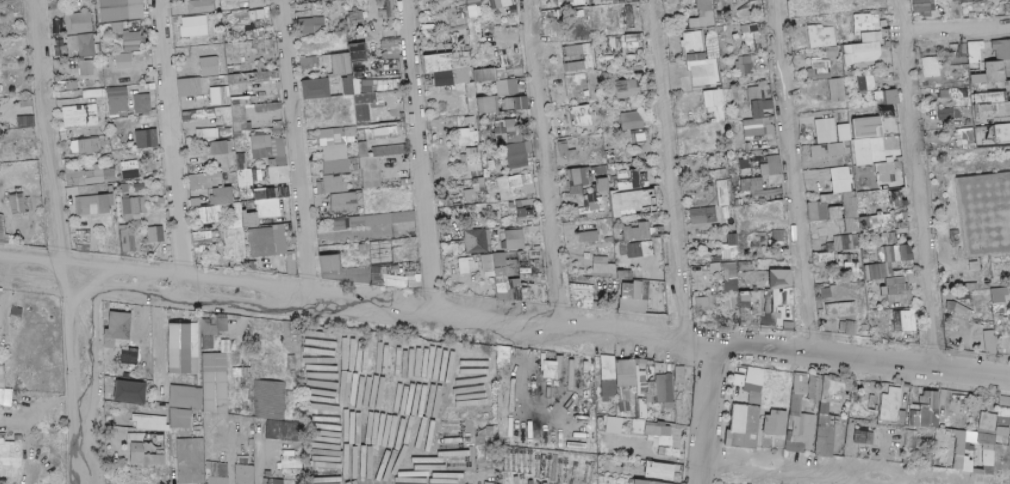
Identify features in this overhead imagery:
building: (191, 0)
building: (322, 0)
building: (440, 0)
building: (461, 0)
building: (752, 0)
building: (989, 0)
building: (313, 1)
building: (471, 1)
building: (920, 1)
building: (955, 1)
building: (594, 2)
building: (716, 2)
building: (754, 2)
building: (973, 2)
building: (500, 3)
building: (570, 3)
building: (1006, 3)
building: (336, 4)
building: (213, 5)
building: (705, 5)
building: (743, 5)
building: (198, 6)
building: (750, 8)
building: (923, 8)
building: (121, 10)
building: (267, 10)
building: (472, 10)
building: (477, 10)
building: (420, 11)
building: (513, 11)
building: (347, 12)
building: (885, 12)
building: (383, 13)
building: (391, 13)
building: (568, 13)
building: (986, 13)
building: (257, 14)
building: (719, 14)
building: (463, 15)
building: (561, 15)
building: (457, 16)
building: (970, 16)
building: (240, 17)
building: (356, 17)
building: (707, 19)
building: (176, 20)
building: (498, 21)
building: (866, 22)
building: (78, 23)
building: (694, 23)
building: (761, 24)
building: (298, 25)
building: (316, 25)
building: (194, 26)
building: (306, 26)
building: (117, 27)
building: (753, 27)
road: (956, 27)
building: (106, 28)
building: (459, 28)
building: (324, 30)
building: (712, 30)
building: (848, 31)
building: (856, 32)
building: (482, 33)
building: (489, 33)
building: (255, 34)
building: (825, 34)
building: (271, 36)
building: (638, 36)
building: (736, 36)
building: (750, 36)
building: (860, 36)
building: (872, 36)
building: (216, 38)
building: (631, 38)
building: (143, 39)
building: (448, 39)
building: (857, 39)
building: (132, 41)
building: (442, 41)
building: (94, 42)
building: (743, 43)
building: (615, 44)
building: (887, 44)
building: (86, 45)
building: (461, 45)
building: (72, 46)
building: (712, 46)
building: (390, 48)
building: (468, 48)
building: (752, 48)
building: (98, 49)
building: (444, 49)
building: (670, 49)
building: (847, 49)
building: (455, 50)
building: (632, 50)
building: (1001, 50)
building: (607, 51)
building: (765, 51)
building: (832, 51)
building: (865, 51)
building: (195, 52)
building: (357, 52)
building: (801, 52)
building: (954, 52)
building: (973, 52)
building: (573, 53)
building: (588, 55)
building: (302, 56)
building: (695, 56)
building: (508, 57)
building: (82, 58)
building: (638, 58)
building: (470, 59)
building: (816, 59)
building: (847, 59)
building: (124, 60)
building: (324, 60)
building: (446, 61)
building: (492, 61)
building: (11, 62)
building: (309, 62)
building: (340, 64)
building: (398, 64)
building: (389, 65)
building: (574, 65)
building: (744, 65)
building: (209, 66)
building: (939, 66)
building: (86, 67)
building: (254, 67)
building: (929, 67)
building: (151, 69)
building: (234, 69)
building: (820, 69)
building: (890, 69)
building: (704, 71)
building: (992, 71)
building: (603, 72)
building: (969, 72)
building: (504, 73)
building: (456, 75)
building: (484, 75)
building: (890, 75)
building: (265, 76)
building: (247, 77)
building: (463, 77)
building: (237, 78)
building: (350, 78)
building: (443, 78)
building: (766, 78)
building: (758, 79)
building: (976, 79)
building: (218, 80)
building: (603, 81)
building: (206, 82)
building: (433, 82)
building: (455, 82)
building: (492, 82)
building: (1008, 83)
building: (866, 84)
building: (72, 85)
building: (347, 85)
building: (356, 85)
building: (376, 85)
building: (621, 85)
building: (149, 86)
building: (577, 86)
building: (707, 86)
building: (189, 87)
building: (451, 87)
building: (506, 87)
building: (1, 88)
building: (316, 88)
building: (235, 89)
building: (481, 89)
building: (837, 89)
building: (343, 90)
building: (630, 90)
building: (77, 91)
building: (104, 92)
building: (488, 92)
building: (92, 93)
building: (466, 93)
building: (647, 93)
building: (756, 93)
building: (944, 93)
building: (228, 94)
building: (743, 94)
building: (218, 95)
building: (858, 95)
building: (878, 95)
building: (959, 95)
building: (1000, 96)
building: (716, 97)
building: (887, 97)
building: (991, 97)
building: (1006, 97)
building: (472, 98)
building: (647, 98)
building: (706, 98)
building: (979, 98)
building: (117, 100)
building: (246, 100)
building: (971, 100)
building: (1007, 100)
building: (237, 101)
building: (894, 102)
building: (26, 103)
building: (509, 103)
building: (521, 103)
building: (554, 103)
building: (567, 103)
building: (611, 103)
building: (631, 103)
building: (703, 103)
building: (143, 104)
building: (484, 104)
building: (767, 104)
building: (948, 104)
building: (503, 105)
building: (249, 106)
building: (155, 107)
building: (462, 107)
building: (267, 108)
building: (756, 108)
building: (605, 109)
building: (999, 109)
building: (111, 110)
building: (880, 111)
building: (888, 111)
building: (981, 111)
building: (211, 112)
building: (463, 112)
building: (714, 112)
building: (861, 112)
building: (973, 112)
building: (948, 113)
building: (194, 114)
building: (365, 114)
building: (491, 114)
building: (607, 114)
building: (106, 115)
building: (110, 115)
building: (225, 115)
building: (579, 115)
building: (767, 115)
building: (80, 116)
building: (238, 116)
building: (702, 116)
building: (147, 117)
building: (220, 117)
building: (719, 117)
building: (725, 117)
building: (212, 118)
building: (596, 118)
building: (33, 120)
building: (186, 120)
building: (632, 120)
building: (24, 121)
building: (967, 121)
building: (403, 123)
building: (502, 123)
building: (979, 123)
building: (277, 124)
building: (471, 124)
building: (737, 124)
building: (246, 126)
building: (588, 126)
building: (219, 127)
building: (228, 127)
building: (511, 127)
building: (757, 127)
building: (865, 127)
road: (51, 129)
building: (472, 129)
building: (827, 129)
building: (278, 130)
building: (519, 130)
building: (62, 131)
building: (350, 131)
building: (650, 131)
building: (878, 131)
building: (377, 132)
building: (843, 132)
building: (216, 133)
building: (200, 134)
building: (238, 134)
building: (253, 134)
building: (259, 134)
building: (956, 134)
building: (501, 135)
building: (807, 135)
building: (331, 136)
building: (466, 136)
building: (493, 136)
building: (638, 136)
building: (965, 136)
building: (63, 137)
building: (474, 138)
building: (514, 138)
building: (349, 139)
building: (107, 140)
building: (268, 140)
building: (817, 141)
building: (867, 141)
building: (284, 142)
building: (563, 142)
building: (876, 143)
building: (229, 145)
building: (949, 145)
building: (84, 146)
building: (748, 146)
building: (218, 147)
building: (260, 147)
building: (278, 147)
building: (563, 147)
building: (493, 148)
road: (172, 149)
building: (208, 149)
building: (362, 149)
road: (296, 150)
building: (390, 150)
building: (828, 150)
building: (453, 151)
building: (504, 151)
building: (335, 152)
building: (529, 152)
building: (860, 152)
building: (115, 153)
building: (929, 153)
building: (369, 154)
road: (419, 154)
building: (572, 154)
building: (517, 155)
building: (566, 155)
building: (760, 155)
building: (353, 156)
building: (402, 156)
building: (406, 156)
building: (614, 156)
building: (469, 159)
building: (476, 159)
building: (752, 160)
building: (67, 161)
building: (227, 161)
building: (241, 161)
building: (280, 161)
road: (545, 161)
building: (272, 162)
building: (745, 162)
building: (129, 164)
building: (312, 164)
building: (336, 166)
building: (770, 166)
building: (356, 167)
building: (491, 167)
building: (649, 167)
building: (277, 169)
road: (666, 169)
building: (283, 170)
building: (745, 170)
building: (758, 170)
building: (134, 171)
building: (370, 171)
building: (878, 171)
building: (125, 172)
building: (477, 173)
building: (486, 173)
building: (718, 173)
building: (108, 174)
building: (258, 174)
building: (86, 175)
road: (794, 175)
building: (579, 176)
building: (629, 177)
building: (880, 177)
building: (284, 178)
building: (217, 179)
building: (771, 179)
building: (644, 180)
building: (851, 180)
building: (404, 181)
building: (408, 181)
building: (478, 181)
building: (688, 181)
road: (917, 181)
building: (201, 182)
building: (460, 182)
building: (465, 182)
building: (616, 182)
building: (834, 182)
building: (333, 183)
building: (502, 183)
building: (453, 184)
building: (751, 184)
building: (245, 185)
building: (345, 185)
building: (602, 185)
building: (624, 185)
building: (123, 187)
building: (320, 187)
building: (358, 187)
building: (709, 187)
building: (111, 188)
building: (136, 188)
building: (479, 188)
building: (829, 189)
building: (576, 190)
building: (587, 190)
building: (594, 190)
building: (625, 190)
building: (878, 190)
building: (278, 192)
building: (772, 192)
building: (860, 192)
building: (505, 193)
building: (259, 194)
building: (479, 194)
building: (840, 194)
building: (222, 195)
building: (470, 195)
building: (126, 196)
building: (652, 196)
building: (360, 197)
building: (620, 197)
building: (828, 197)
building: (493, 198)
building: (642, 198)
building: (897, 198)
building: (160, 200)
building: (211, 200)
building: (446, 200)
building: (593, 201)
building: (344, 202)
building: (440, 202)
building: (875, 202)
building: (17, 203)
building: (105, 203)
building: (506, 203)
building: (144, 204)
building: (489, 204)
building: (502, 204)
building: (511, 204)
building: (526, 204)
building: (586, 204)
building: (600, 204)
building: (89, 205)
building: (131, 205)
building: (223, 205)
building: (849, 205)
building: (78, 206)
building: (249, 206)
building: (268, 207)
building: (472, 207)
building: (483, 208)
building: (441, 209)
building: (504, 209)
building: (731, 210)
building: (236, 211)
building: (818, 211)
building: (362, 212)
building: (524, 212)
building: (116, 213)
building: (834, 213)
building: (863, 213)
building: (879, 213)
building: (211, 214)
building: (871, 214)
building: (19, 215)
building: (642, 215)
building: (657, 215)
building: (698, 215)
building: (711, 215)
building: (842, 215)
building: (403, 216)
building: (610, 216)
building: (129, 217)
building: (903, 217)
building: (249, 219)
building: (378, 219)
building: (482, 220)
building: (570, 220)
building: (617, 220)
building: (358, 221)
building: (873, 221)
building: (350, 222)
building: (864, 223)
building: (229, 224)
building: (237, 224)
building: (633, 224)
building: (242, 225)
building: (290, 225)
building: (340, 225)
building: (851, 225)
building: (904, 225)
building: (124, 227)
building: (7, 228)
building: (219, 228)
building: (611, 228)
building: (831, 228)
building: (861, 230)
building: (452, 231)
building: (636, 231)
building: (656, 232)
building: (155, 234)
building: (495, 234)
building: (621, 234)
building: (769, 234)
building: (954, 234)
building: (87, 235)
building: (884, 235)
building: (198, 236)
building: (405, 236)
building: (488, 236)
building: (589, 236)
building: (861, 236)
building: (893, 236)
building: (219, 237)
building: (463, 237)
building: (446, 238)
building: (779, 238)
building: (208, 239)
building: (279, 239)
building: (514, 239)
building: (610, 239)
building: (125, 240)
building: (146, 240)
building: (366, 240)
building: (475, 240)
building: (732, 240)
building: (82, 241)
building: (262, 241)
building: (133, 242)
building: (235, 242)
building: (592, 242)
building: (854, 242)
building: (882, 242)
building: (617, 243)
building: (842, 243)
building: (371, 244)
building: (380, 244)
building: (503, 244)
building: (586, 246)
building: (830, 246)
building: (454, 248)
building: (415, 249)
building: (640, 249)
building: (960, 249)
building: (199, 250)
building: (623, 250)
building: (252, 252)
building: (729, 252)
building: (881, 252)
building: (904, 252)
building: (124, 253)
building: (476, 253)
building: (694, 253)
building: (891, 253)
building: (381, 255)
building: (512, 255)
building: (374, 256)
building: (826, 257)
building: (471, 258)
building: (481, 258)
building: (499, 258)
building: (716, 258)
building: (849, 258)
building: (855, 258)
building: (863, 259)
building: (382, 260)
building: (842, 261)
building: (291, 262)
building: (330, 262)
building: (403, 262)
building: (488, 262)
building: (765, 262)
building: (201, 263)
building: (411, 264)
building: (477, 264)
building: (596, 264)
building: (898, 264)
building: (251, 265)
building: (403, 265)
building: (463, 265)
building: (472, 265)
building: (747, 265)
building: (973, 265)
building: (406, 267)
building: (608, 267)
building: (851, 267)
road: (143, 268)
building: (395, 268)
building: (730, 268)
building: (641, 269)
building: (873, 270)
building: (508, 272)
building: (418, 273)
building: (500, 273)
building: (717, 273)
building: (384, 274)
building: (410, 274)
building: (489, 274)
building: (620, 274)
building: (627, 274)
building: (376, 275)
building: (852, 276)
building: (866, 276)
building: (701, 277)
building: (754, 277)
building: (879, 277)
building: (768, 278)
building: (781, 278)
building: (492, 280)
building: (993, 280)
building: (762, 281)
building: (395, 282)
building: (413, 283)
building: (768, 283)
building: (870, 283)
building: (730, 285)
building: (894, 285)
building: (821, 286)
building: (970, 286)
building: (833, 287)
building: (509, 289)
building: (636, 289)
building: (626, 290)
building: (644, 290)
building: (787, 291)
building: (533, 292)
building: (774, 292)
building: (826, 292)
road: (140, 293)
building: (581, 295)
building: (697, 295)
building: (967, 295)
building: (963, 297)
building: (744, 299)
building: (713, 300)
building: (755, 301)
building: (702, 302)
building: (729, 302)
building: (595, 304)
building: (632, 304)
building: (778, 306)
building: (996, 307)
building: (841, 308)
building: (959, 308)
building: (750, 309)
building: (747, 310)
building: (766, 312)
building: (16, 313)
road: (501, 316)
building: (694, 316)
building: (743, 316)
building: (1004, 317)
building: (52, 318)
building: (902, 318)
building: (214, 319)
building: (754, 319)
building: (118, 326)
building: (848, 327)
building: (864, 327)
building: (209, 328)
building: (194, 333)
building: (292, 337)
building: (989, 340)
building: (208, 342)
building: (116, 343)
building: (179, 348)
building: (477, 348)
building: (991, 349)
building: (986, 352)
building: (480, 353)
building: (505, 354)
road: (866, 355)
road: (523, 356)
building: (130, 357)
building: (214, 361)
building: (294, 361)
building: (604, 362)
building: (640, 362)
building: (648, 363)
building: (641, 369)
building: (293, 370)
road: (68, 371)
building: (246, 371)
building: (237, 372)
building: (607, 373)
building: (625, 373)
building: (680, 374)
building: (801, 374)
building: (2, 376)
building: (502, 377)
building: (641, 379)
building: (739, 380)
building: (753, 380)
building: (246, 381)
building: (238, 382)
building: (800, 384)
building: (297, 386)
building: (504, 386)
building: (607, 387)
building: (631, 387)
building: (814, 387)
building: (616, 388)
building: (664, 388)
building: (835, 388)
building: (215, 390)
building: (130, 391)
building: (641, 391)
building: (111, 393)
building: (623, 393)
building: (650, 394)
building: (925, 394)
building: (6, 396)
building: (186, 397)
building: (677, 397)
building: (847, 397)
building: (754, 398)
building: (270, 399)
building: (922, 400)
building: (931, 400)
building: (872, 401)
building: (1003, 401)
building: (739, 402)
building: (287, 404)
building: (795, 404)
building: (804, 404)
building: (981, 404)
building: (975, 405)
building: (623, 406)
building: (639, 407)
building: (669, 407)
building: (823, 408)
road: (35, 409)
building: (1002, 411)
building: (625, 413)
road: (715, 413)
building: (467, 414)
building: (315, 415)
building: (327, 415)
building: (639, 415)
building: (323, 416)
building: (900, 416)
building: (791, 417)
building: (927, 417)
building: (181, 418)
building: (682, 418)
building: (823, 419)
building: (294, 420)
building: (833, 420)
building: (914, 420)
building: (1002, 420)
building: (909, 421)
building: (774, 422)
building: (655, 423)
building: (986, 423)
building: (684, 426)
building: (612, 428)
building: (637, 428)
building: (746, 428)
building: (252, 429)
building: (333, 429)
building: (803, 429)
building: (863, 429)
building: (255, 430)
building: (652, 430)
building: (284, 431)
building: (1000, 431)
building: (953, 433)
building: (1009, 433)
building: (960, 435)
building: (665, 436)
building: (971, 436)
building: (139, 437)
building: (676, 437)
building: (863, 437)
building: (18, 438)
building: (985, 438)
building: (824, 439)
building: (911, 439)
building: (155, 440)
building: (1002, 440)
building: (655, 441)
building: (251, 442)
building: (503, 443)
building: (618, 443)
building: (2, 444)
building: (521, 444)
building: (966, 444)
building: (485, 445)
building: (795, 445)
building: (631, 447)
building: (959, 448)
building: (152, 449)
building: (164, 450)
building: (664, 450)
building: (675, 452)
building: (136, 453)
building: (630, 453)
building: (968, 454)
building: (987, 454)
building: (340, 455)
building: (888, 455)
building: (939, 455)
building: (349, 456)
building: (284, 458)
building: (10, 459)
building: (158, 459)
building: (905, 459)
building: (148, 460)
building: (190, 460)
building: (677, 460)
building: (496, 462)
building: (958, 462)
road: (379, 463)
building: (295, 464)
building: (967, 465)
building: (990, 466)
building: (486, 467)
building: (216, 469)
building: (647, 469)
road: (29, 470)
building: (285, 470)
building: (661, 470)
building: (987, 470)
road: (817, 471)
building: (1000, 471)
building: (268, 473)
building: (245, 474)
building: (316, 479)
building: (218, 480)
building: (605, 480)
building: (630, 481)
building: (279, 482)
building: (644, 482)
building: (665, 483)

